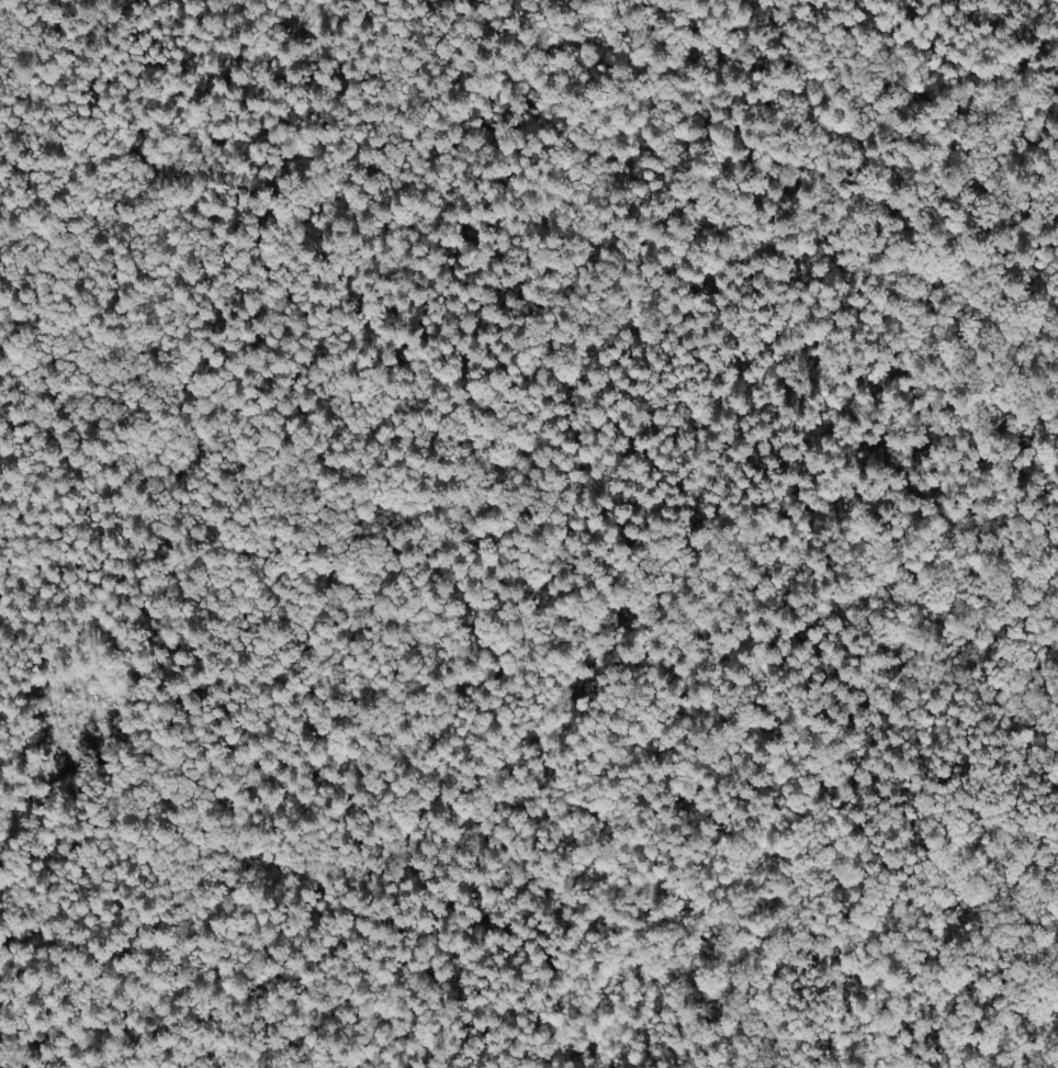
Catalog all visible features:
road: (596, 722)

